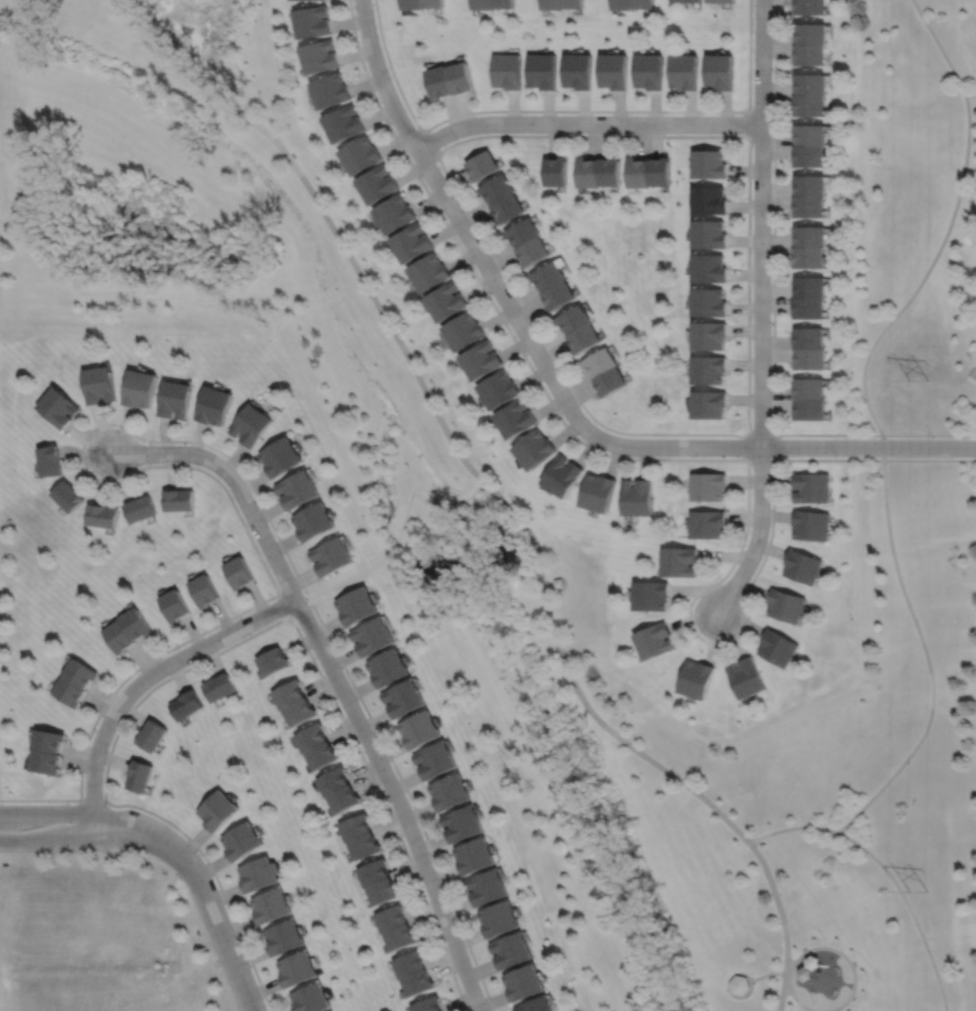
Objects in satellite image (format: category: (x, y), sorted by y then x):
building: (296, 0)
building: (685, 0)
building: (721, 0)
building: (413, 3)
building: (434, 3)
building: (483, 3)
building: (504, 3)
building: (552, 3)
building: (573, 3)
building: (642, 3)
building: (621, 4)
building: (810, 6)
building: (313, 20)
building: (812, 32)
building: (810, 54)
building: (320, 55)
building: (507, 69)
building: (543, 69)
building: (578, 70)
building: (613, 70)
building: (649, 70)
building: (684, 71)
building: (720, 71)
street lamp: (390, 76)
building: (461, 76)
building: (440, 80)
building: (811, 83)
building: (331, 89)
building: (810, 104)
street lamp: (751, 107)
road: (568, 110)
street lamp: (525, 112)
street lamp: (703, 113)
building: (344, 122)
road: (586, 122)
road: (749, 123)
street lamp: (626, 133)
building: (811, 134)
street lamp: (456, 139)
road: (430, 143)
building: (360, 154)
building: (810, 155)
building: (709, 164)
building: (483, 165)
building: (557, 171)
building: (610, 171)
building: (590, 172)
building: (659, 172)
building: (638, 173)
street lamp: (422, 176)
building: (378, 183)
building: (811, 185)
building: (498, 188)
building: (709, 200)
building: (508, 207)
building: (810, 207)
building: (395, 213)
street lamp: (771, 222)
road: (761, 223)
road: (947, 230)
building: (524, 232)
road: (467, 234)
building: (709, 234)
building: (811, 236)
building: (412, 242)
building: (534, 251)
building: (809, 257)
street lamp: (474, 265)
building: (709, 269)
building: (430, 272)
building: (550, 275)
building: (811, 287)
building: (559, 295)
building: (447, 301)
building: (709, 303)
building: (809, 309)
building: (576, 319)
street lamp: (751, 319)
road: (773, 319)
building: (464, 331)
building: (709, 336)
building: (585, 338)
building: (809, 339)
street lamp: (527, 355)
building: (481, 360)
building: (811, 360)
building: (601, 363)
road: (748, 363)
building: (710, 370)
power tower: (920, 380)
building: (611, 382)
building: (101, 386)
building: (141, 389)
building: (809, 389)
building: (499, 390)
building: (175, 400)
building: (710, 405)
building: (213, 406)
building: (59, 408)
building: (811, 411)
building: (516, 419)
road: (441, 422)
street lamp: (595, 423)
road: (117, 424)
building: (251, 426)
street lamp: (771, 428)
street lamp: (933, 437)
street lamp: (158, 444)
road: (795, 447)
building: (535, 450)
street lamp: (697, 456)
building: (280, 457)
street lamp: (837, 458)
road: (727, 459)
road: (773, 459)
building: (51, 462)
street lamp: (89, 469)
building: (564, 477)
road: (234, 481)
building: (709, 487)
building: (812, 488)
building: (297, 490)
building: (600, 492)
building: (68, 495)
building: (639, 497)
building: (179, 500)
building: (141, 509)
building: (102, 514)
park: (448, 514)
building: (314, 520)
building: (709, 524)
street lamp: (269, 525)
building: (811, 527)
road: (757, 534)
building: (332, 555)
building: (682, 561)
building: (802, 566)
building: (240, 571)
building: (558, 582)
road: (566, 584)
road: (547, 585)
building: (204, 589)
building: (654, 595)
street lamp: (274, 599)
building: (175, 604)
building: (357, 605)
building: (785, 605)
road: (286, 607)
building: (138, 622)
building: (120, 635)
building: (373, 636)
building: (658, 640)
street lamp: (723, 640)
building: (778, 647)
street lamp: (179, 648)
road: (224, 650)
road: (926, 653)
building: (273, 661)
building: (389, 667)
street lamp: (343, 670)
building: (81, 672)
building: (699, 679)
building: (747, 679)
road: (141, 680)
building: (219, 687)
building: (70, 690)
building: (289, 694)
building: (405, 698)
building: (185, 705)
building: (299, 712)
street lamp: (92, 730)
building: (421, 730)
building: (153, 735)
building: (311, 738)
building: (49, 740)
building: (321, 756)
building: (437, 760)
building: (46, 761)
street lamp: (390, 765)
building: (141, 775)
building: (333, 782)
building: (452, 793)
building: (344, 799)
road: (90, 800)
road: (397, 801)
street lamp: (2, 802)
street lamp: (108, 805)
building: (218, 811)
road: (46, 812)
road: (130, 821)
building: (464, 824)
road: (792, 827)
building: (355, 828)
road: (128, 838)
road: (46, 840)
building: (242, 842)
building: (364, 847)
street lamp: (107, 850)
street lamp: (197, 851)
building: (476, 856)
building: (374, 873)
building: (260, 875)
street lamp: (443, 887)
building: (489, 888)
power tower: (916, 889)
building: (382, 892)
building: (272, 907)
road: (910, 909)
building: (391, 920)
building: (501, 920)
road: (214, 922)
road: (783, 923)
building: (400, 938)
building: (285, 939)
road: (821, 947)
building: (513, 952)
building: (409, 966)
street lamp: (251, 969)
building: (298, 971)
road: (770, 973)
building: (739, 983)
building: (418, 984)
building: (526, 984)
road: (745, 994)
building: (311, 999)
building: (539, 1005)
building: (428, 1006)

